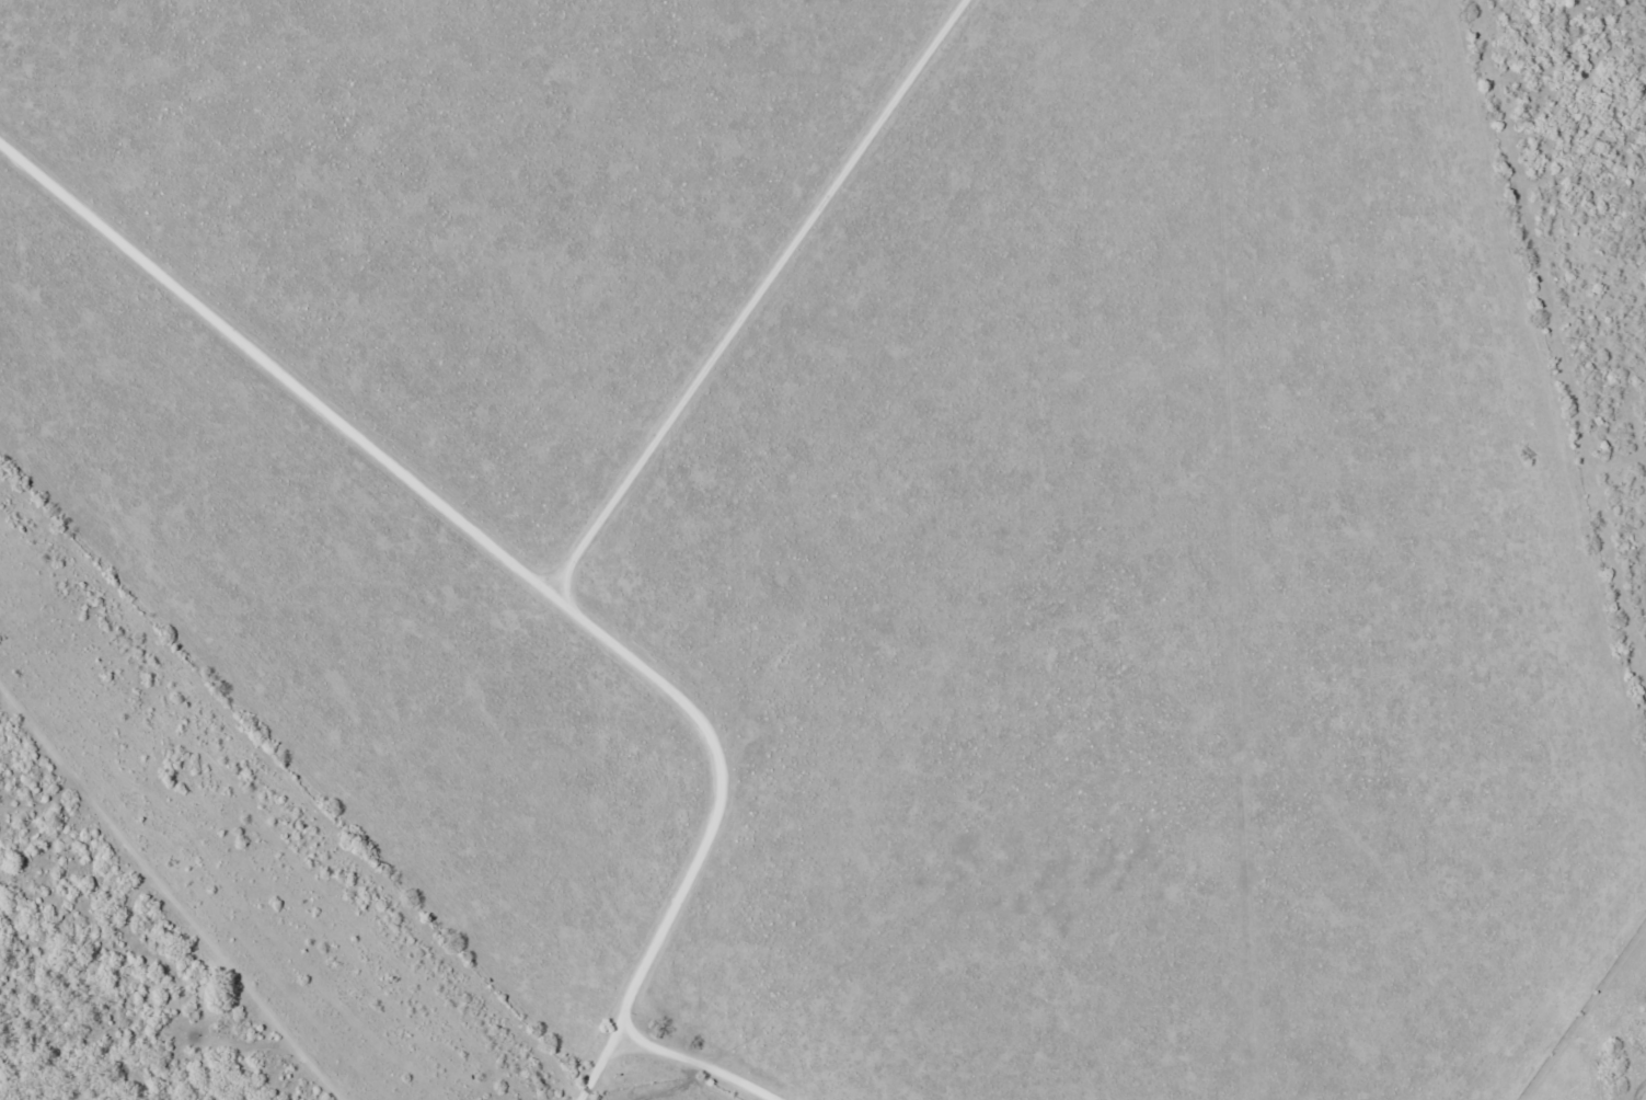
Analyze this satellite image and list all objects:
road: (544, 592)
road: (165, 898)
road: (601, 1061)

